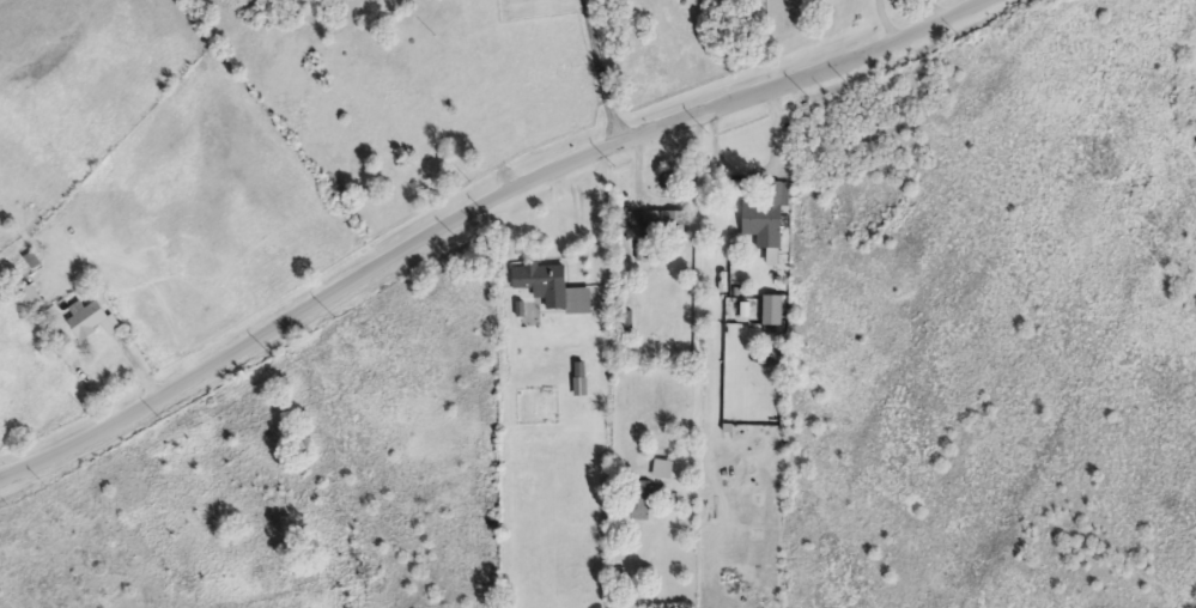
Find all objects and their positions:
road: (601, 73)
building: (767, 214)
building: (637, 220)
road: (475, 227)
building: (553, 288)
road: (699, 296)
building: (775, 311)
building: (92, 321)
building: (581, 381)
building: (666, 470)
building: (642, 500)

